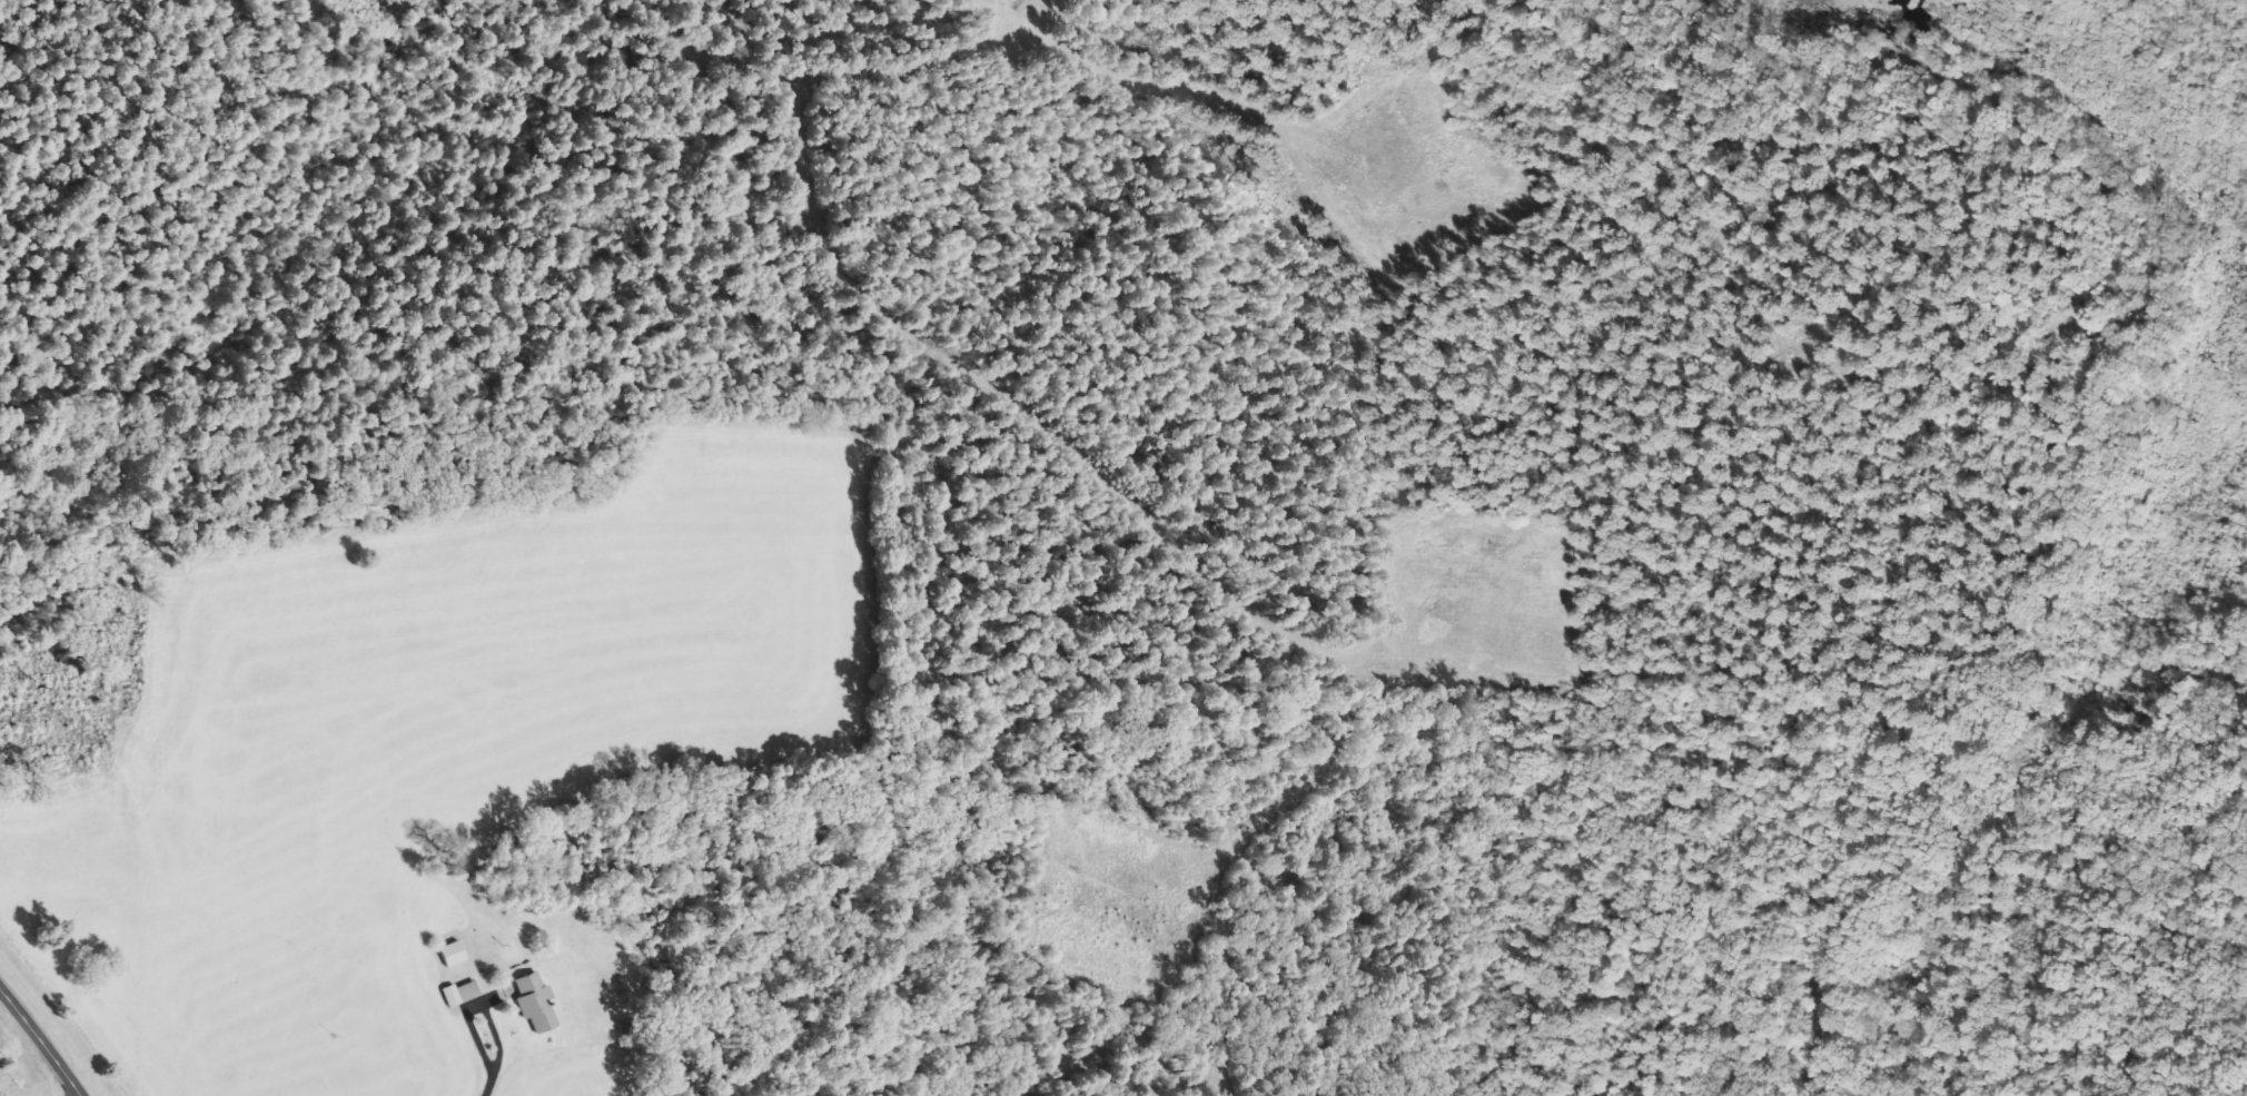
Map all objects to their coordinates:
road: (840, 76)
river: (2204, 97)
building: (453, 954)
building: (536, 1004)
road: (41, 1034)
road: (4, 1094)

